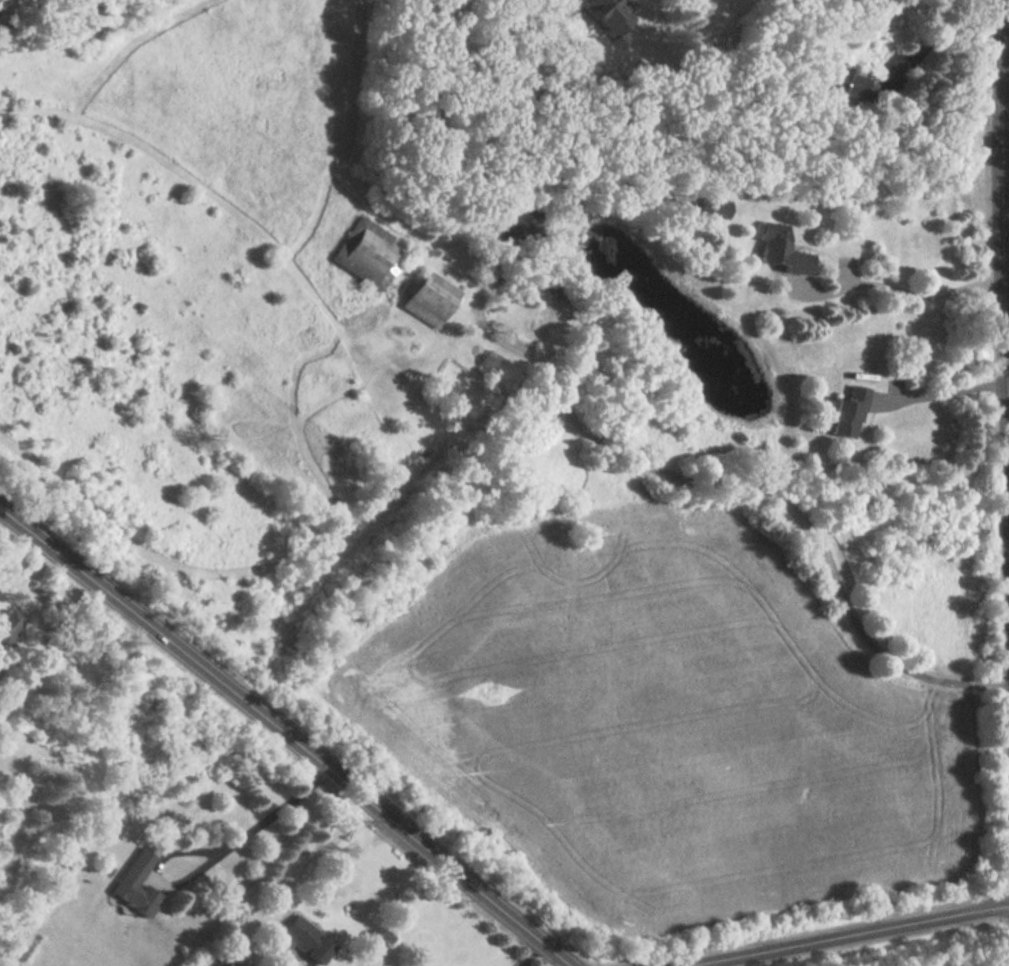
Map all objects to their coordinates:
building: (51, 0)
building: (2, 5)
building: (607, 14)
road: (937, 39)
road: (1006, 67)
road: (1006, 221)
building: (778, 248)
building: (369, 253)
road: (1008, 285)
road: (915, 296)
building: (430, 300)
building: (497, 366)
road: (948, 395)
road: (760, 491)
building: (7, 622)
road: (62, 651)
road: (287, 736)
road: (276, 816)
road: (323, 853)
building: (137, 883)
road: (851, 936)
building: (303, 942)
road: (531, 953)

